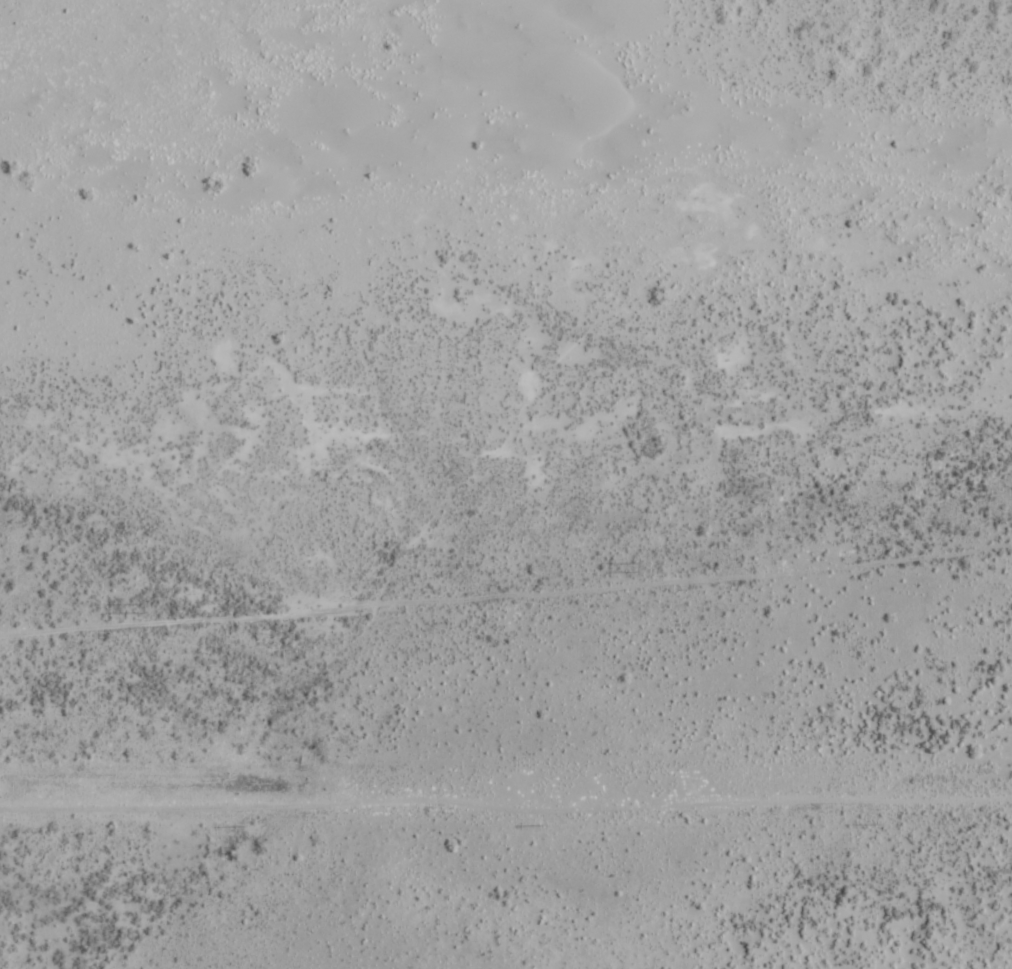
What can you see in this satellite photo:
road: (506, 590)

